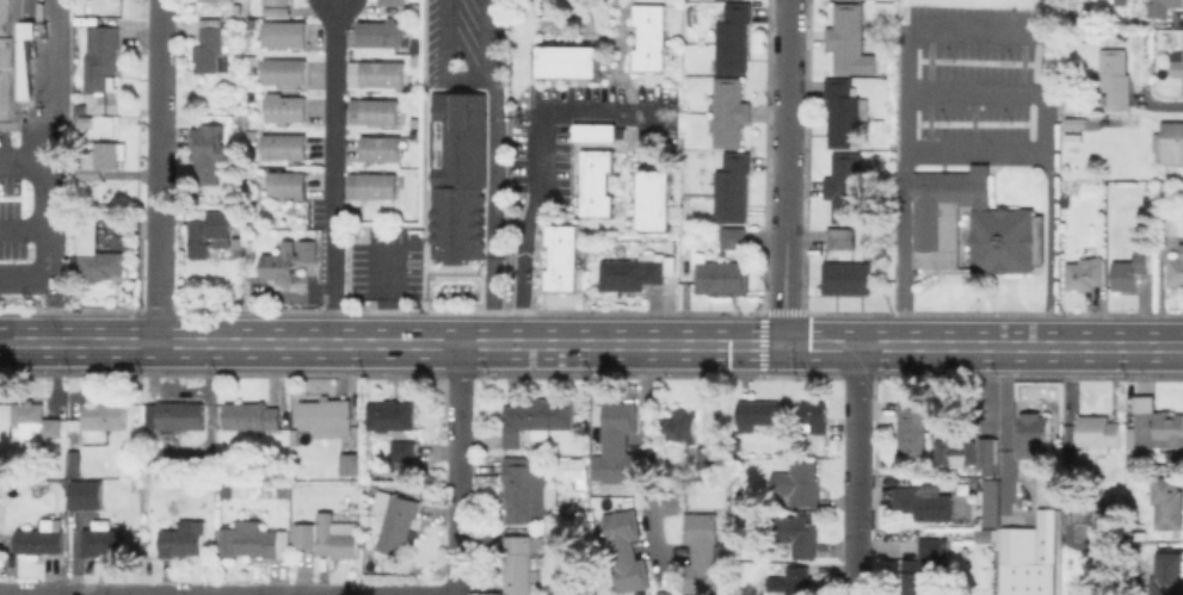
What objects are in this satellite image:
building: (209, 0)
building: (393, 2)
building: (278, 7)
building: (1162, 7)
road: (974, 33)
building: (285, 35)
building: (382, 36)
building: (646, 37)
building: (735, 37)
building: (848, 37)
road: (482, 38)
parking lot: (462, 43)
building: (210, 44)
building: (101, 56)
road: (445, 56)
building: (14, 60)
building: (566, 61)
building: (286, 72)
building: (376, 73)
building: (1177, 74)
building: (1116, 76)
parking lot: (975, 85)
road: (975, 89)
road: (904, 91)
road: (1047, 91)
road: (160, 101)
building: (286, 109)
building: (374, 111)
building: (731, 112)
building: (844, 113)
building: (1076, 124)
building: (591, 131)
building: (1172, 142)
building: (285, 147)
building: (381, 148)
road: (975, 150)
building: (208, 151)
road: (25, 155)
road: (50, 159)
building: (103, 160)
road: (538, 162)
road: (332, 172)
road: (784, 172)
building: (457, 176)
building: (593, 182)
building: (288, 185)
building: (372, 186)
building: (846, 186)
building: (733, 187)
building: (1166, 190)
building: (652, 199)
road: (491, 207)
road: (25, 224)
building: (209, 231)
building: (729, 236)
building: (837, 236)
building: (999, 237)
building: (1181, 246)
road: (902, 248)
road: (1046, 248)
building: (559, 258)
building: (289, 260)
building: (103, 265)
parking lot: (382, 265)
building: (1130, 271)
road: (158, 273)
building: (633, 273)
building: (1085, 274)
building: (706, 277)
building: (733, 277)
building: (833, 277)
building: (859, 277)
road: (382, 296)
road: (591, 345)
traffic signals: (782, 345)
building: (760, 413)
building: (107, 415)
building: (177, 415)
building: (252, 415)
building: (327, 415)
building: (392, 415)
building: (814, 416)
building: (37, 419)
building: (537, 419)
road: (1006, 419)
building: (1156, 424)
building: (682, 426)
building: (913, 426)
building: (1101, 430)
building: (1035, 433)
building: (618, 444)
building: (405, 450)
road: (855, 451)
building: (957, 452)
building: (990, 452)
road: (646, 453)
building: (704, 457)
building: (72, 463)
building: (352, 463)
road: (457, 470)
building: (580, 471)
building: (800, 483)
building: (283, 492)
building: (528, 492)
building: (87, 494)
building: (1167, 502)
building: (924, 503)
building: (1017, 507)
building: (396, 521)
building: (1107, 521)
building: (1080, 523)
building: (800, 533)
building: (328, 535)
building: (43, 538)
building: (985, 538)
building: (105, 539)
building: (183, 539)
building: (251, 541)
building: (627, 550)
building: (702, 552)
building: (1031, 559)
building: (522, 560)
building: (925, 565)
building: (1167, 574)
road: (852, 576)
building: (793, 579)

